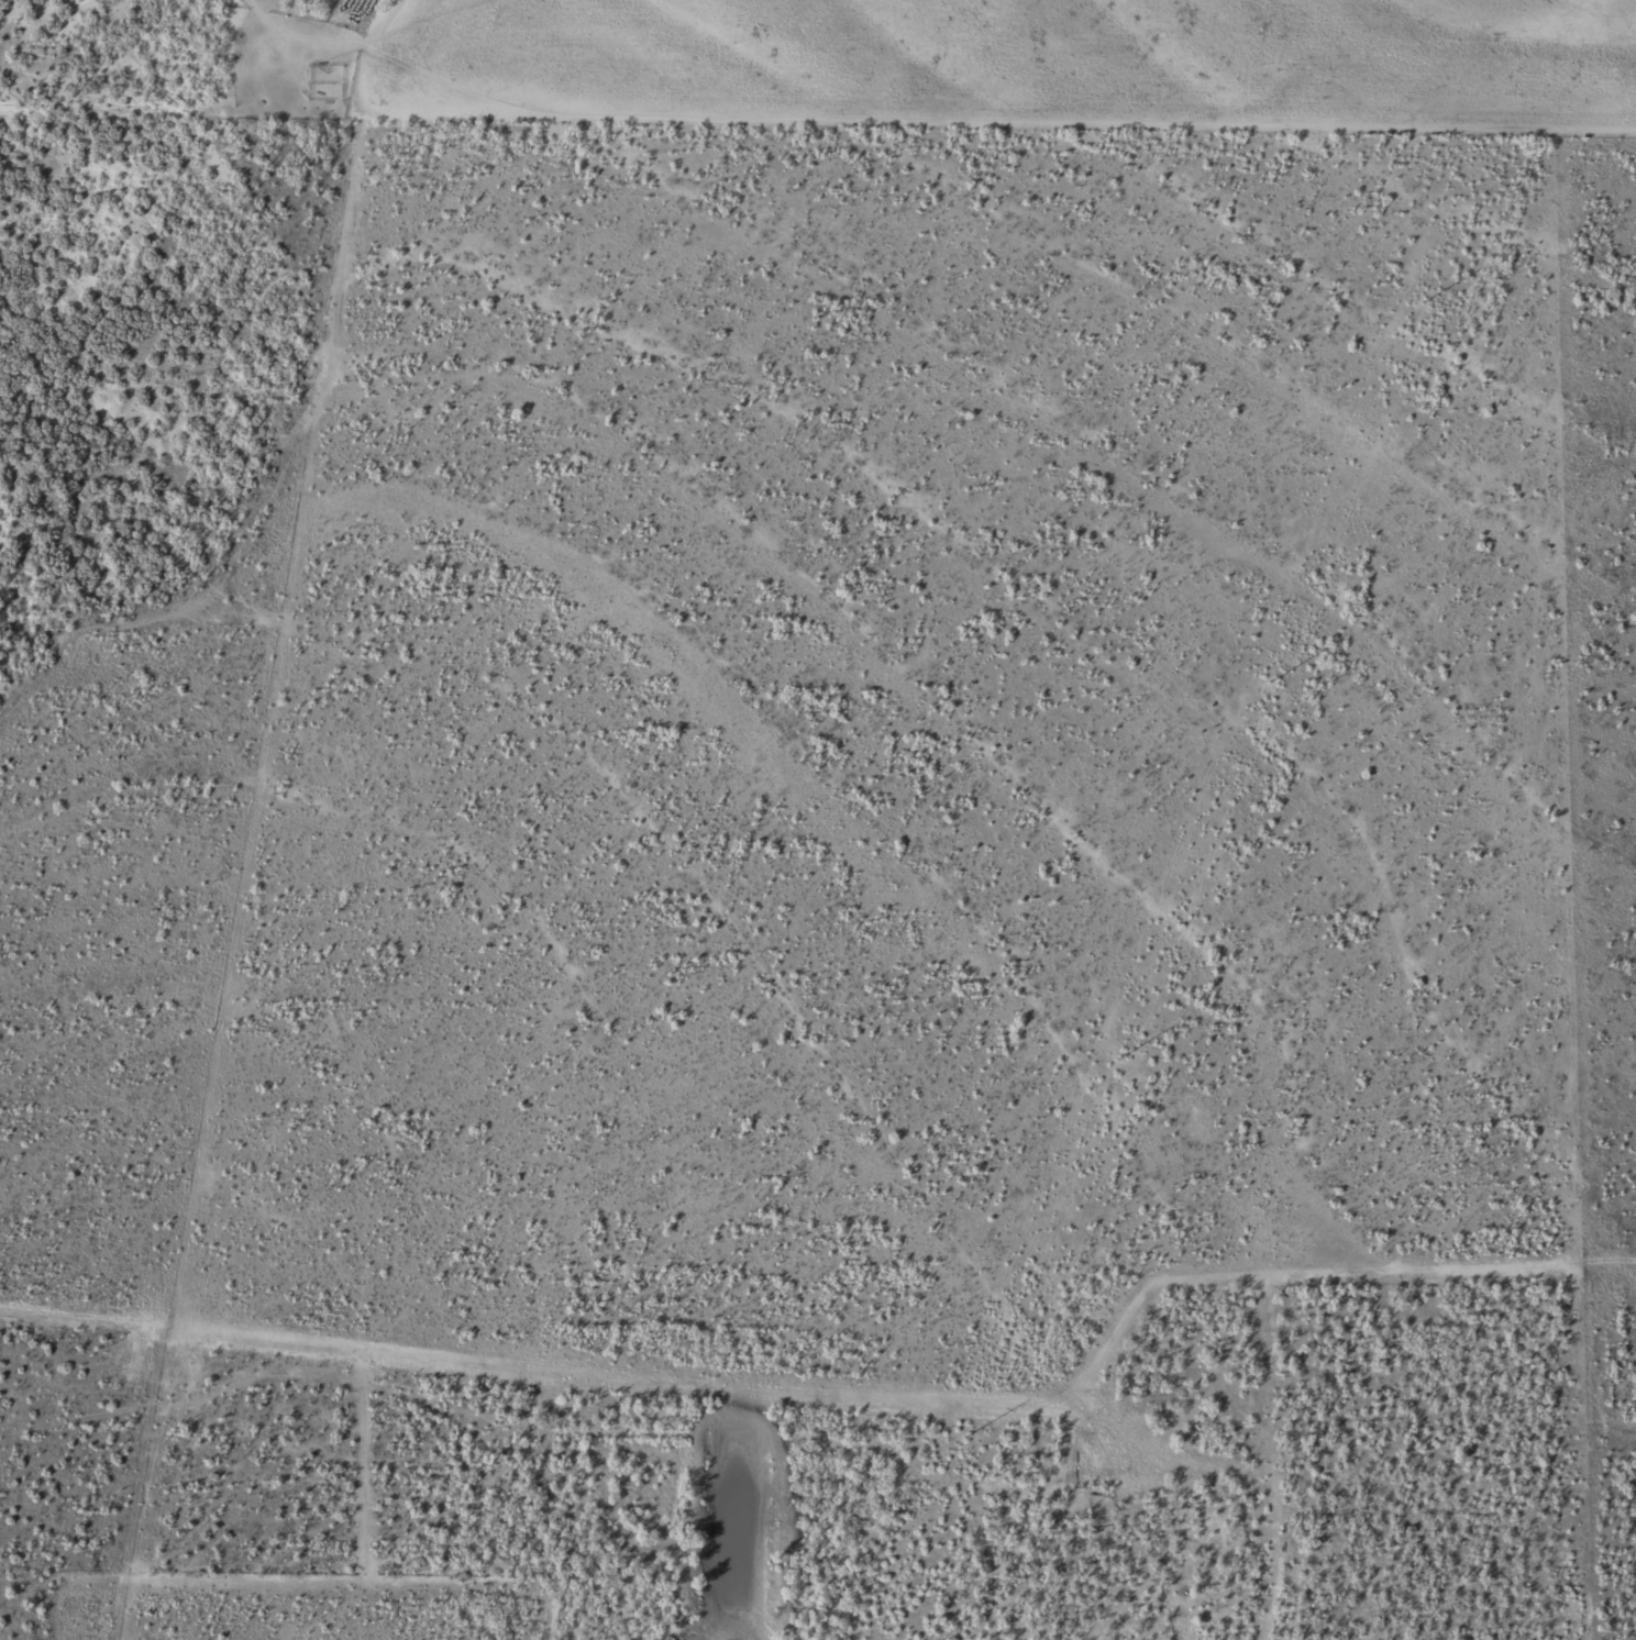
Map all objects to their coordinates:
power tower: (1421, 310)
power tower: (1265, 687)
power tower: (1113, 1066)
road: (687, 1436)
power tower: (961, 1443)

